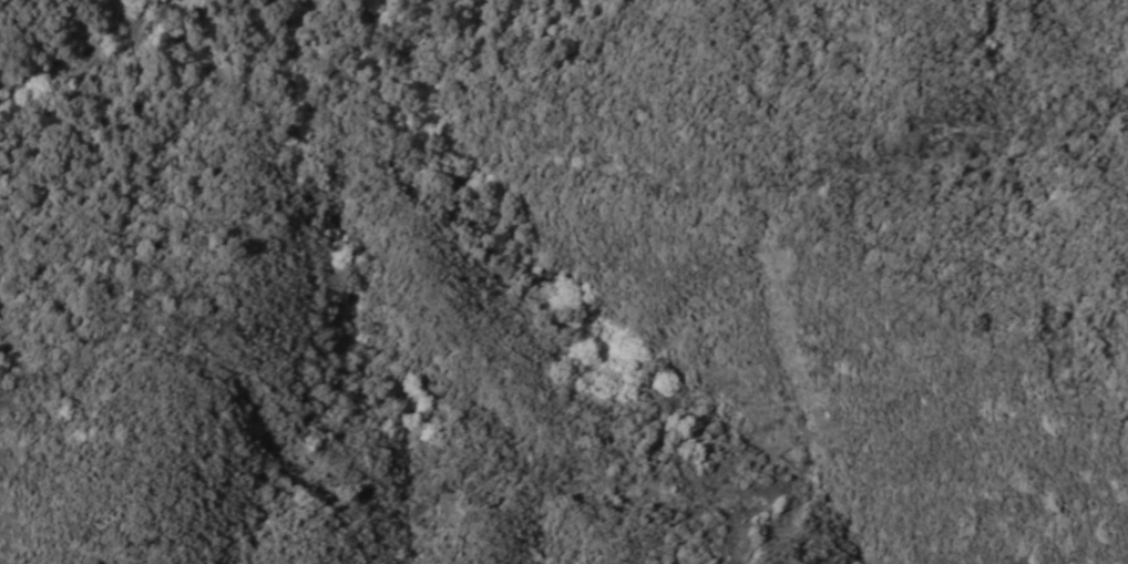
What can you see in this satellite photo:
road: (419, 248)
road: (677, 472)

